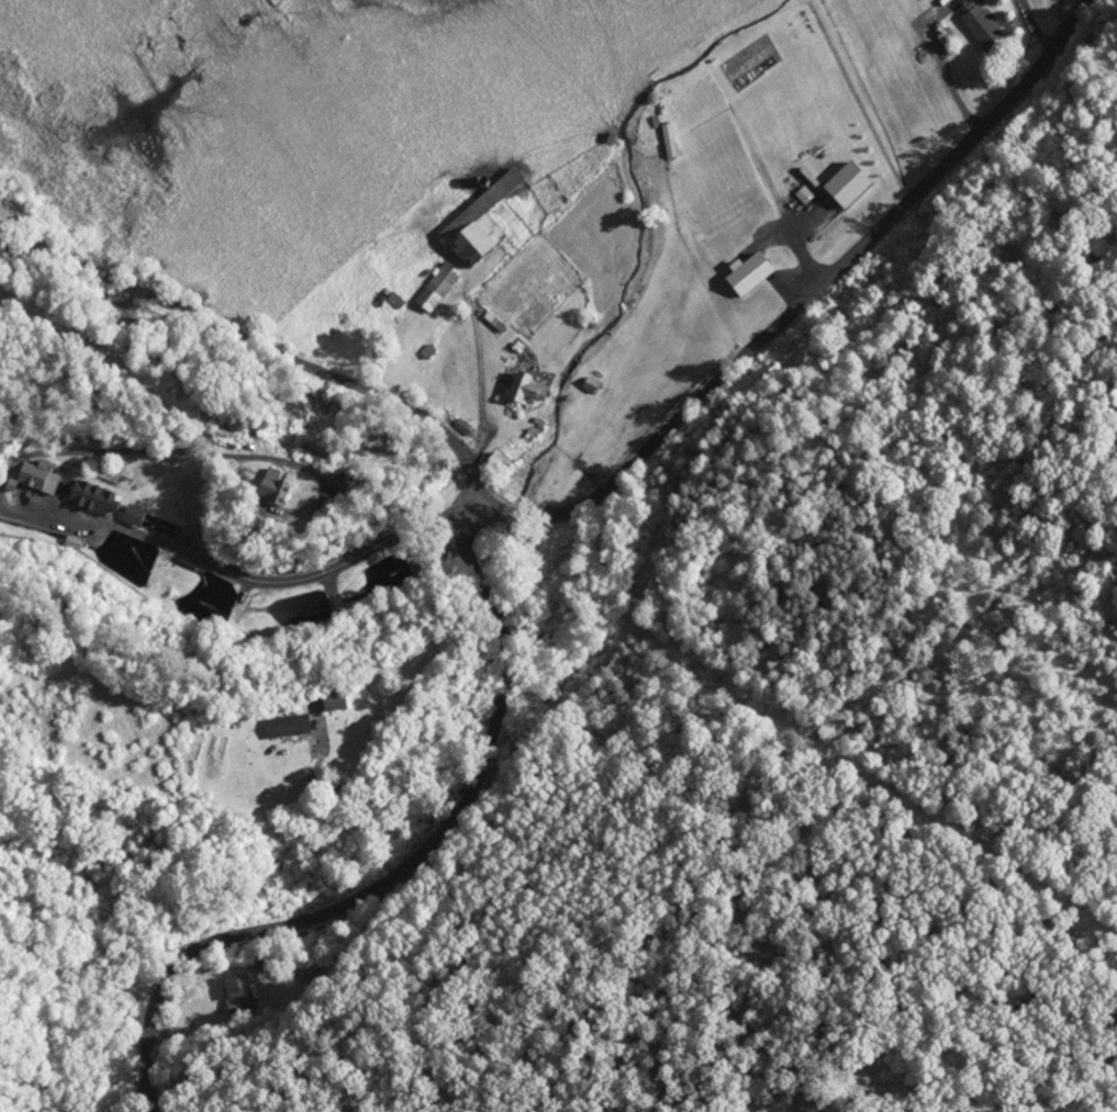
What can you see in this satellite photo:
building: (984, 24)
building: (851, 186)
building: (8, 209)
building: (487, 223)
building: (756, 273)
building: (442, 288)
road: (815, 296)
road: (261, 342)
building: (535, 389)
building: (505, 461)
building: (38, 482)
building: (294, 486)
road: (256, 572)
building: (344, 699)
building: (294, 726)
road: (391, 863)
road: (225, 875)
building: (239, 993)

